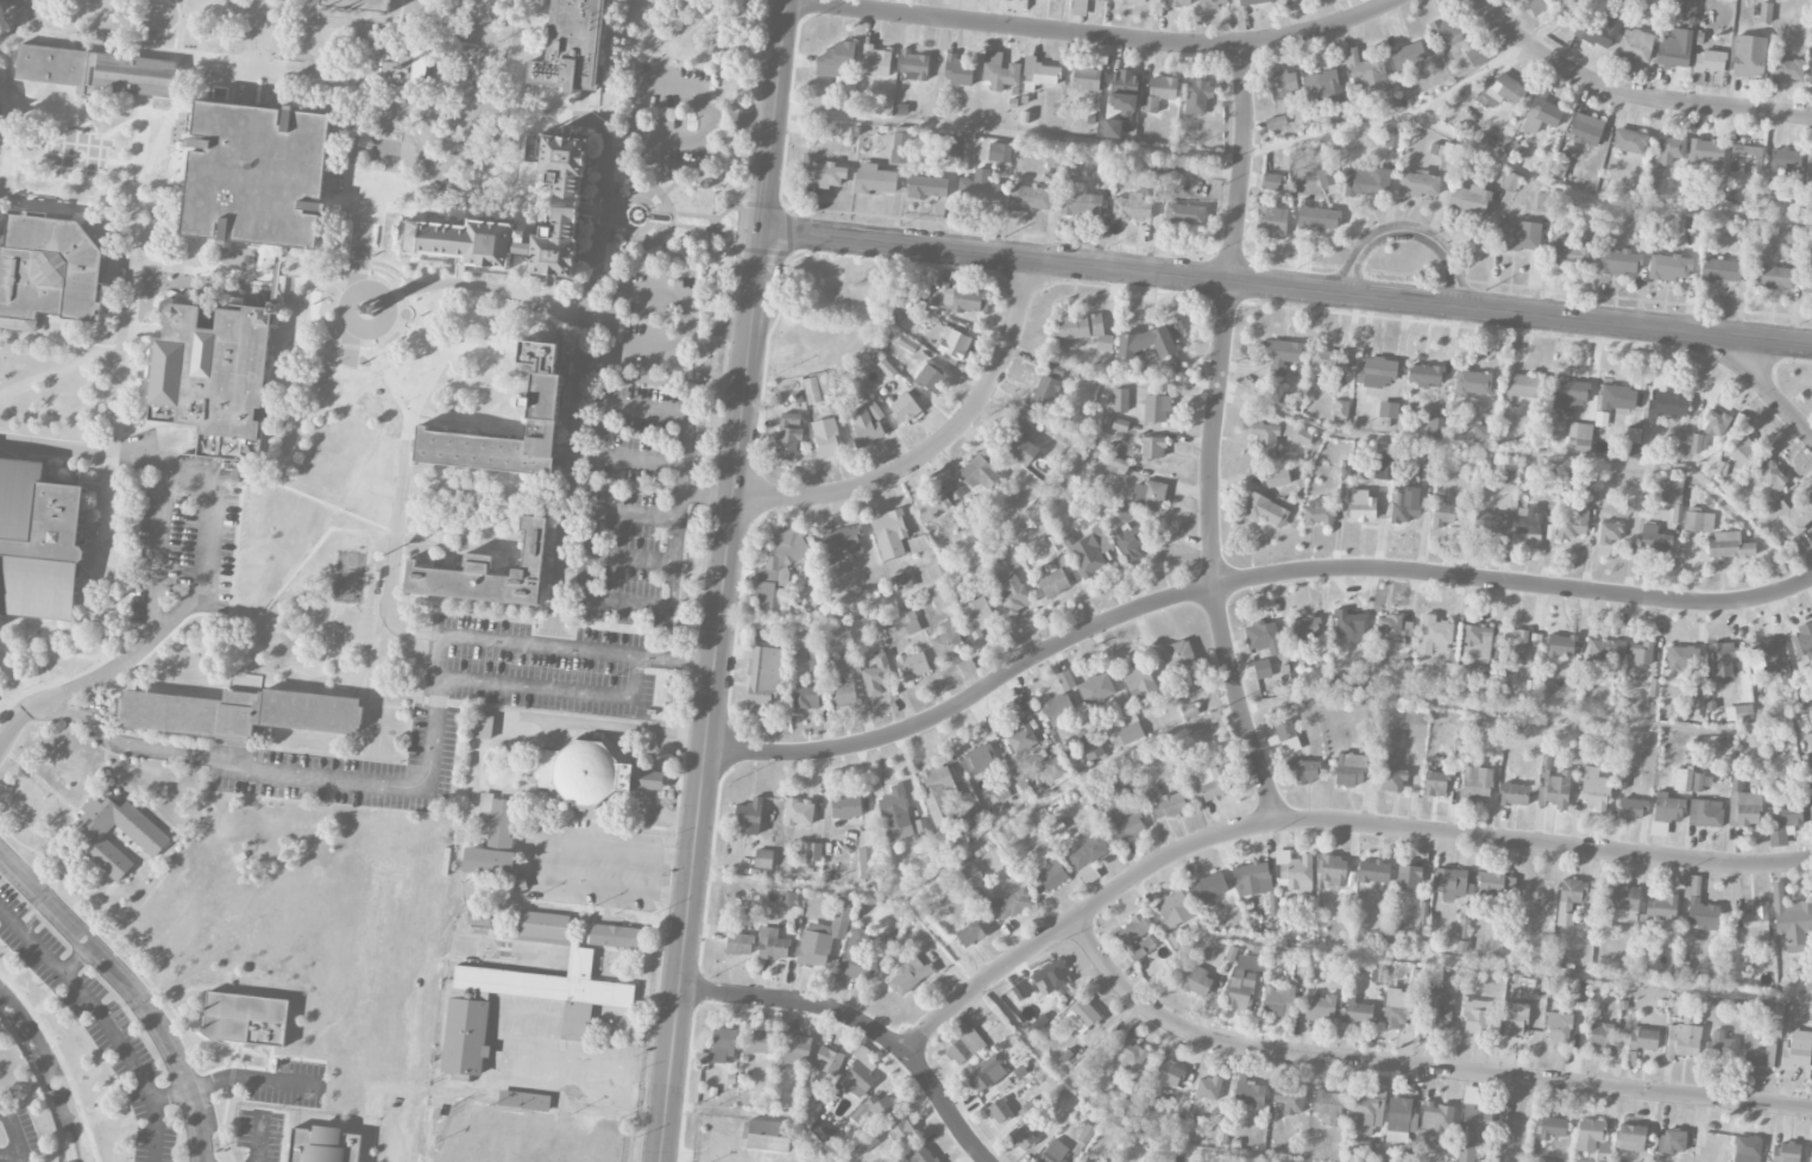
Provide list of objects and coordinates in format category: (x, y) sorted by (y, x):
parking lot: (34, 0)
building: (1107, 0)
building: (1132, 1)
building: (1252, 1)
building: (1176, 2)
road: (171, 4)
building: (1212, 4)
building: (356, 5)
road: (694, 5)
building: (1539, 6)
building: (1687, 10)
building: (1651, 11)
road: (709, 12)
building: (1766, 12)
road: (619, 26)
road: (176, 27)
building: (1600, 31)
road: (252, 32)
building: (1446, 32)
road: (1096, 37)
road: (162, 38)
building: (1635, 45)
building: (568, 48)
building: (1674, 49)
building: (1407, 55)
building: (1476, 55)
building: (1749, 56)
road: (184, 57)
road: (667, 58)
building: (836, 59)
building: (875, 61)
building: (1710, 62)
building: (58, 64)
building: (913, 65)
building: (1785, 68)
building: (960, 70)
building: (999, 71)
building: (1367, 73)
building: (138, 74)
building: (397, 74)
building: (1038, 74)
building: (1810, 74)
building: (1086, 78)
building: (1283, 83)
road: (643, 88)
building: (1322, 88)
building: (1498, 90)
building: (1124, 93)
building: (1158, 93)
building: (1197, 95)
road: (1631, 95)
road: (1427, 103)
parking lot: (672, 109)
road: (8, 113)
building: (1542, 113)
road: (775, 115)
building: (1, 119)
building: (1276, 121)
building: (1112, 127)
building: (1586, 128)
building: (1392, 138)
building: (1629, 140)
road: (81, 145)
building: (951, 146)
building: (900, 147)
building: (1672, 149)
building: (1706, 151)
building: (999, 152)
building: (1445, 153)
building: (1055, 158)
building: (1745, 158)
road: (598, 162)
building: (1785, 162)
road: (672, 163)
building: (1810, 165)
building: (1560, 169)
road: (84, 171)
road: (45, 172)
building: (254, 174)
building: (823, 175)
building: (1325, 177)
road: (136, 180)
building: (875, 180)
building: (1367, 181)
building: (1654, 181)
building: (1271, 182)
building: (1510, 182)
building: (1418, 184)
building: (926, 187)
building: (977, 189)
road: (665, 190)
building: (1030, 197)
road: (740, 200)
building: (1468, 200)
road: (1600, 200)
building: (564, 202)
building: (1543, 202)
road: (108, 203)
building: (1081, 203)
building: (1132, 208)
fountain: (648, 214)
road: (364, 215)
building: (1183, 215)
building: (1591, 215)
building: (1317, 219)
building: (1272, 220)
road: (716, 221)
building: (1692, 226)
road: (713, 227)
road: (1408, 232)
building: (1520, 237)
road: (644, 240)
building: (1572, 256)
road: (680, 259)
building: (1618, 262)
road: (392, 264)
road: (177, 266)
building: (1669, 266)
building: (51, 268)
building: (1720, 270)
road: (609, 274)
building: (1773, 277)
building: (1808, 282)
road: (310, 283)
road: (438, 283)
road: (319, 284)
road: (328, 284)
road: (1288, 285)
road: (623, 297)
road: (546, 299)
building: (955, 299)
road: (365, 313)
road: (584, 319)
road: (526, 321)
parking lot: (652, 321)
road: (310, 326)
building: (1084, 329)
road: (61, 340)
building: (1150, 341)
building: (907, 344)
building: (954, 344)
road: (283, 352)
road: (446, 353)
building: (1282, 354)
building: (1325, 365)
building: (886, 368)
road: (509, 372)
building: (1376, 372)
building: (214, 373)
building: (1424, 375)
building: (931, 377)
building: (823, 382)
building: (1473, 382)
building: (1049, 383)
building: (1523, 387)
road: (1764, 387)
building: (811, 390)
road: (394, 395)
building: (1568, 395)
building: (1617, 397)
building: (1120, 400)
road: (603, 403)
building: (902, 406)
building: (1668, 406)
road: (290, 408)
building: (1156, 408)
building: (552, 409)
building: (1388, 409)
building: (1340, 412)
road: (572, 414)
building: (866, 423)
building: (1715, 423)
building: (1436, 427)
road: (407, 431)
road: (300, 432)
building: (788, 434)
building: (1297, 434)
building: (1483, 434)
building: (1067, 435)
building: (1580, 436)
building: (825, 438)
road: (1213, 438)
building: (1015, 439)
building: (1265, 440)
building: (1698, 442)
road: (56, 445)
road: (936, 445)
building: (1153, 447)
road: (1474, 447)
road: (112, 448)
road: (140, 451)
building: (1742, 451)
building: (1119, 463)
building: (981, 470)
building: (1769, 475)
building: (1277, 477)
building: (1509, 477)
road: (593, 482)
road: (623, 484)
building: (1669, 491)
building: (1591, 494)
road: (707, 495)
building: (1147, 495)
road: (331, 496)
building: (938, 500)
building: (1632, 502)
building: (1363, 505)
building: (1404, 505)
parking lot: (635, 507)
building: (1264, 510)
building: (1124, 511)
building: (1442, 511)
road: (677, 513)
building: (1319, 513)
road: (429, 515)
building: (1786, 515)
building: (1528, 520)
building: (1698, 521)
building: (1489, 522)
building: (1573, 525)
parking lot: (181, 528)
road: (369, 529)
building: (1610, 532)
building: (889, 533)
road: (510, 535)
building: (1101, 538)
building: (1654, 539)
building: (842, 540)
building: (40, 541)
road: (505, 542)
building: (1130, 542)
building: (918, 544)
building: (1729, 546)
road: (159, 548)
road: (207, 549)
building: (1084, 554)
road: (391, 555)
building: (1012, 557)
road: (628, 558)
building: (779, 563)
road: (960, 569)
building: (485, 571)
park: (350, 574)
building: (1050, 578)
road: (581, 579)
road: (1242, 582)
road: (233, 583)
building: (1012, 592)
building: (939, 597)
building: (977, 616)
building: (908, 618)
building: (1348, 624)
building: (1305, 629)
building: (1390, 629)
road: (31, 633)
building: (1434, 635)
building: (1264, 637)
building: (1801, 639)
building: (946, 640)
building: (1535, 640)
building: (1477, 641)
road: (145, 643)
building: (1516, 646)
building: (1561, 646)
building: (1606, 649)
road: (50, 652)
building: (1641, 653)
building: (1763, 653)
building: (1681, 658)
building: (1179, 659)
building: (1723, 659)
road: (100, 660)
building: (913, 665)
parking lot: (546, 667)
building: (1262, 668)
building: (1447, 671)
building: (876, 676)
road: (361, 678)
building: (762, 678)
building: (1065, 680)
building: (1139, 682)
building: (1096, 689)
building: (1528, 689)
road: (554, 690)
road: (68, 692)
building: (1805, 693)
building: (842, 695)
road: (711, 697)
building: (805, 698)
road: (399, 706)
building: (1057, 709)
building: (241, 710)
building: (1189, 711)
building: (1743, 712)
building: (1416, 715)
road: (560, 724)
building: (482, 727)
building: (1131, 734)
road: (272, 736)
building: (1023, 736)
building: (1285, 736)
building: (1089, 743)
road: (359, 748)
building: (980, 759)
parking lot: (348, 768)
building: (1055, 768)
road: (428, 770)
building: (1351, 770)
building: (1304, 771)
building: (589, 774)
building: (1119, 775)
building: (1392, 775)
building: (1019, 778)
building: (1682, 779)
building: (1698, 781)
road: (1064, 783)
building: (1209, 783)
building: (1477, 783)
road: (45, 784)
building: (1435, 784)
building: (1553, 785)
building: (1808, 789)
building: (1594, 790)
building: (1001, 792)
building: (939, 794)
building: (1515, 794)
building: (1165, 803)
building: (845, 806)
building: (1743, 806)
building: (1631, 808)
building: (799, 812)
building: (1665, 812)
building: (1705, 812)
building: (749, 815)
building: (895, 815)
building: (497, 818)
building: (970, 821)
road: (1322, 821)
building: (1785, 823)
building: (921, 825)
building: (1121, 825)
building: (109, 831)
road: (61, 834)
building: (813, 852)
road: (535, 859)
building: (763, 859)
building: (1087, 859)
building: (493, 866)
parking lot: (599, 868)
building: (1333, 871)
building: (1373, 871)
building: (1294, 872)
building: (975, 874)
building: (1050, 875)
building: (1409, 877)
building: (1252, 878)
building: (1490, 881)
building: (1453, 884)
road: (801, 885)
building: (1208, 888)
building: (788, 898)
building: (1571, 899)
building: (1011, 903)
building: (1273, 904)
building: (1619, 904)
road: (89, 905)
building: (1699, 905)
building: (1661, 906)
building: (1175, 910)
building: (479, 916)
building: (1791, 918)
building: (543, 928)
building: (1750, 930)
building: (974, 931)
building: (824, 935)
building: (615, 936)
building: (1134, 937)
building: (1175, 938)
building: (738, 943)
building: (772, 944)
road: (44, 949)
building: (858, 955)
road: (1461, 961)
building: (908, 976)
building: (1050, 976)
building: (1196, 981)
building: (1808, 986)
road: (133, 987)
road: (191, 987)
building: (1023, 990)
building: (1240, 992)
building: (1278, 1000)
building: (1320, 1007)
building: (1397, 1007)
road: (529, 1011)
building: (1433, 1011)
building: (1359, 1012)
building: (1082, 1017)
building: (1474, 1017)
building: (247, 1018)
building: (1515, 1019)
building: (1039, 1020)
road: (863, 1022)
building: (466, 1023)
parking lot: (96, 1024)
building: (1559, 1026)
building: (1599, 1035)
building: (1643, 1038)
building: (1682, 1041)
road: (124, 1042)
building: (760, 1042)
building: (1717, 1042)
building: (963, 1043)
building: (723, 1044)
road: (239, 1047)
building: (794, 1049)
building: (1797, 1049)
building: (1756, 1050)
road: (501, 1053)
building: (1128, 1054)
building: (828, 1061)
road: (231, 1064)
road: (1416, 1066)
building: (858, 1072)
building: (987, 1073)
building: (1169, 1073)
road: (253, 1078)
parking lot: (285, 1082)
road: (1078, 1082)
building: (1208, 1087)
road: (644, 1093)
building: (1250, 1093)
building: (1289, 1099)
building: (523, 1100)
road: (227, 1105)
building: (1328, 1105)
building: (876, 1108)
road: (762, 1111)
building: (1000, 1111)
building: (1367, 1112)
building: (1436, 1117)
building: (1399, 1119)
road: (1517, 1119)
building: (1476, 1122)
road: (157, 1128)
building: (1552, 1128)
road: (14, 1133)
parking lot: (17, 1133)
building: (901, 1133)
building: (1588, 1135)
building: (768, 1136)
building: (1630, 1137)
building: (1023, 1138)
road: (258, 1139)
building: (1673, 1141)
building: (325, 1144)
building: (1365, 1149)
building: (1747, 1149)
building: (1055, 1151)
building: (1604, 1151)
building: (1785, 1152)
building: (1466, 1154)
building: (1811, 1155)
road: (10, 1156)
building: (923, 1156)
building: (899, 1158)
building: (1178, 1158)
parking lot: (40, 1161)

